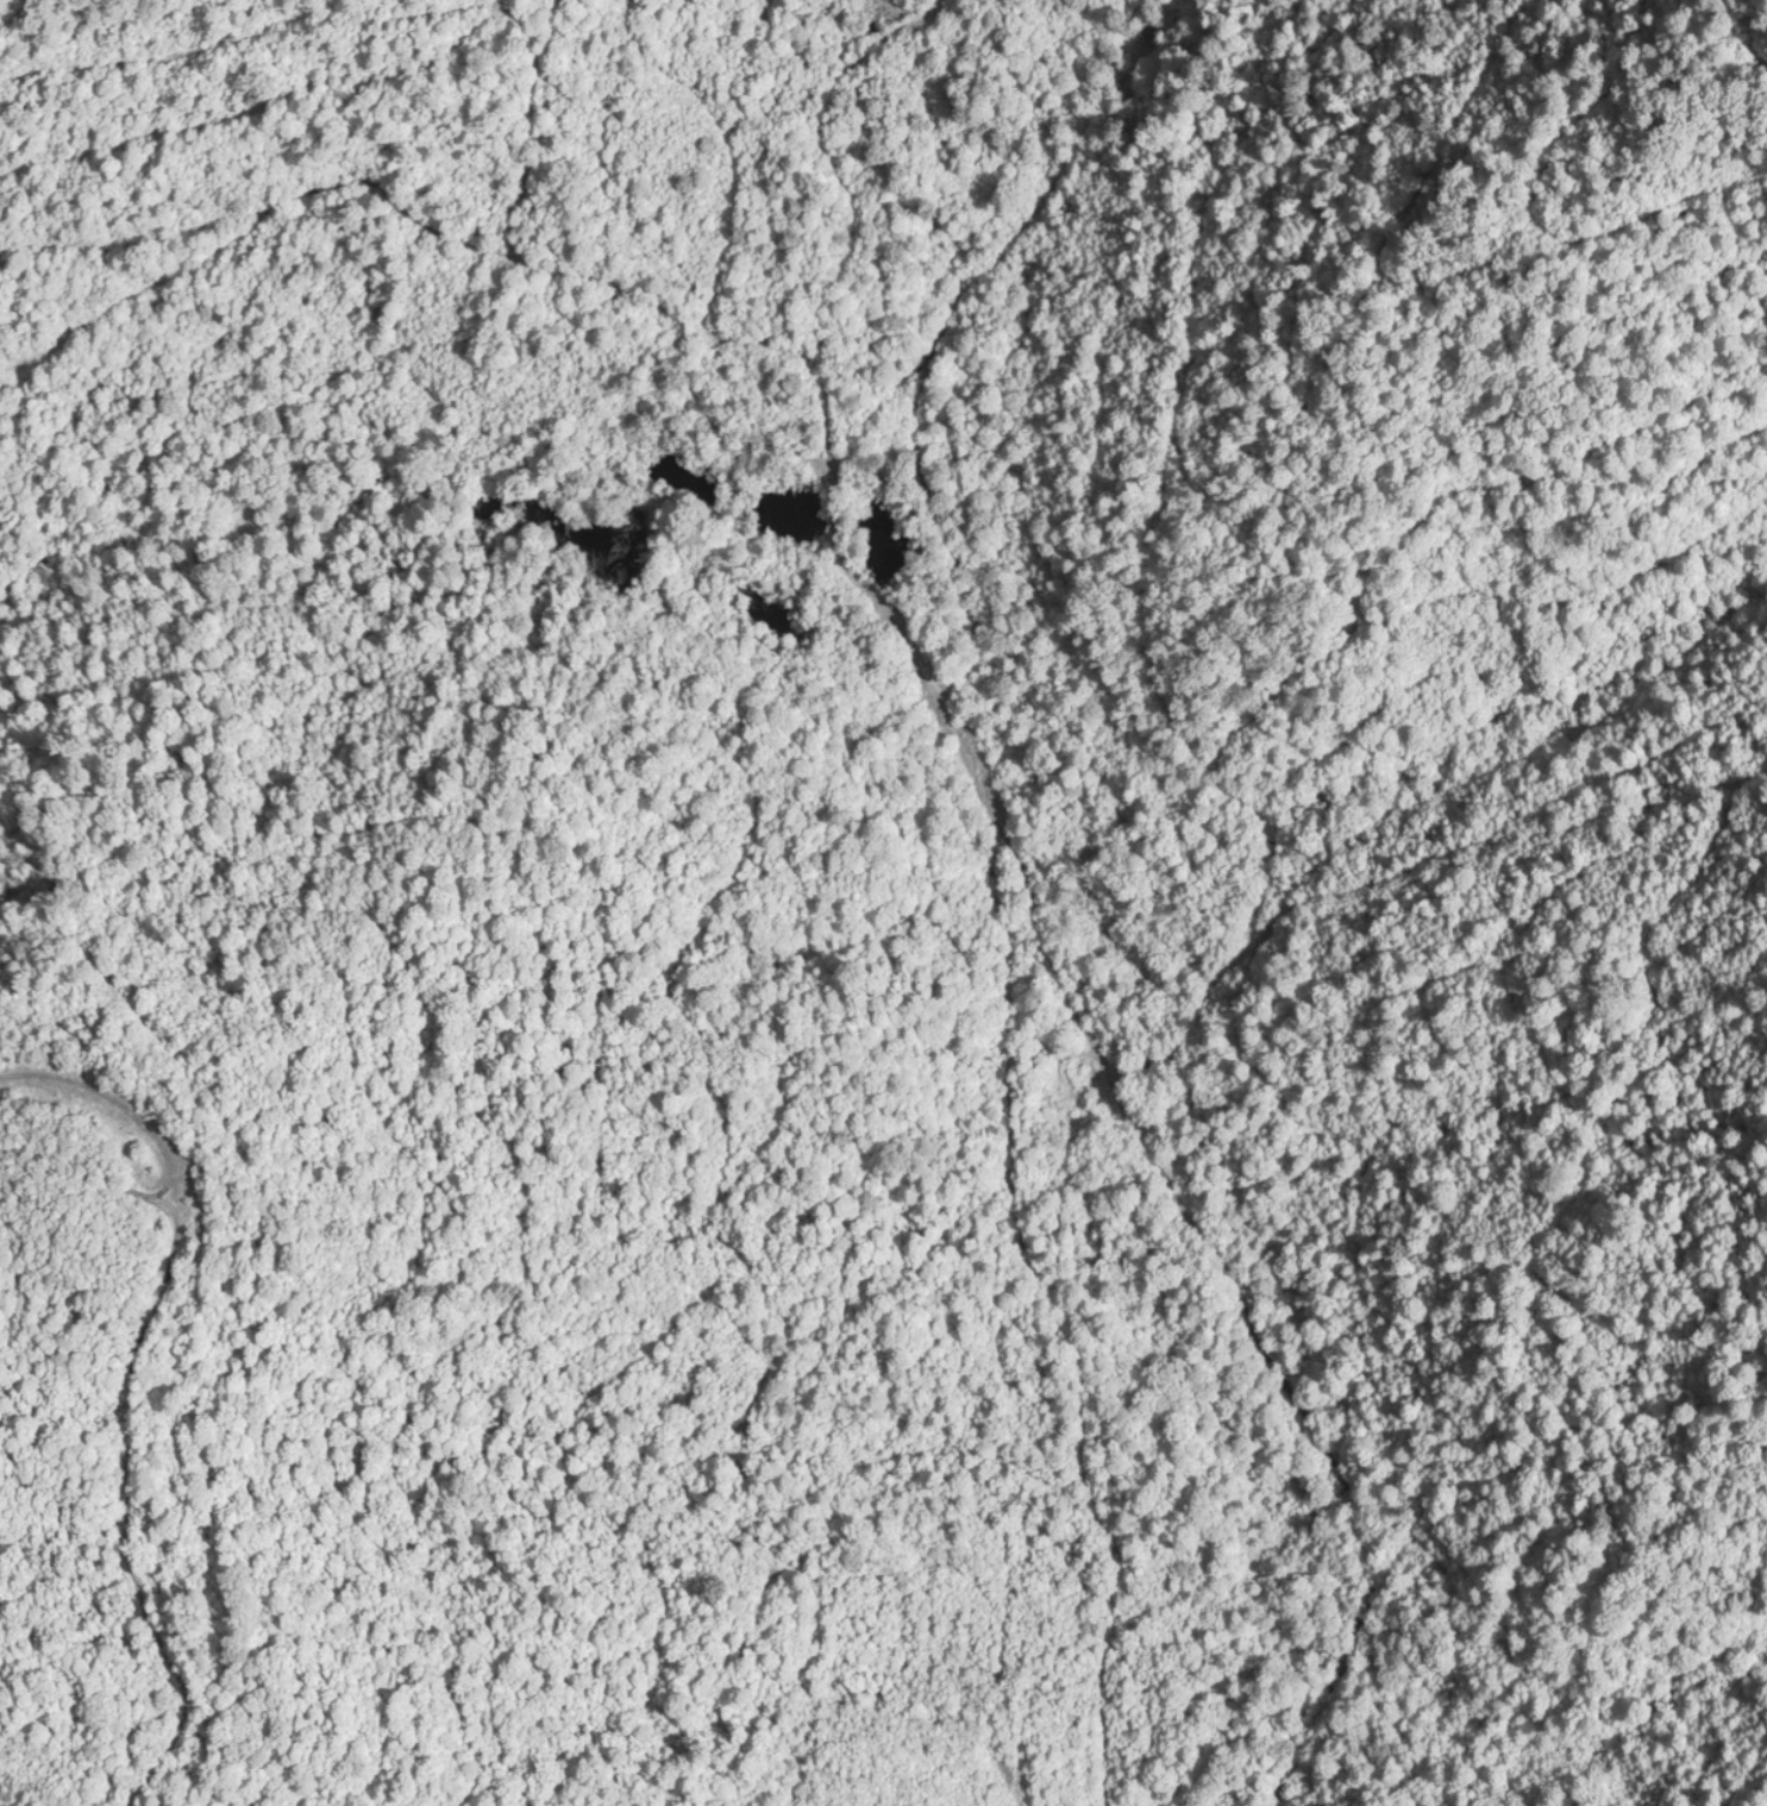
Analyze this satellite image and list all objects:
quarry: (202, 1098)

